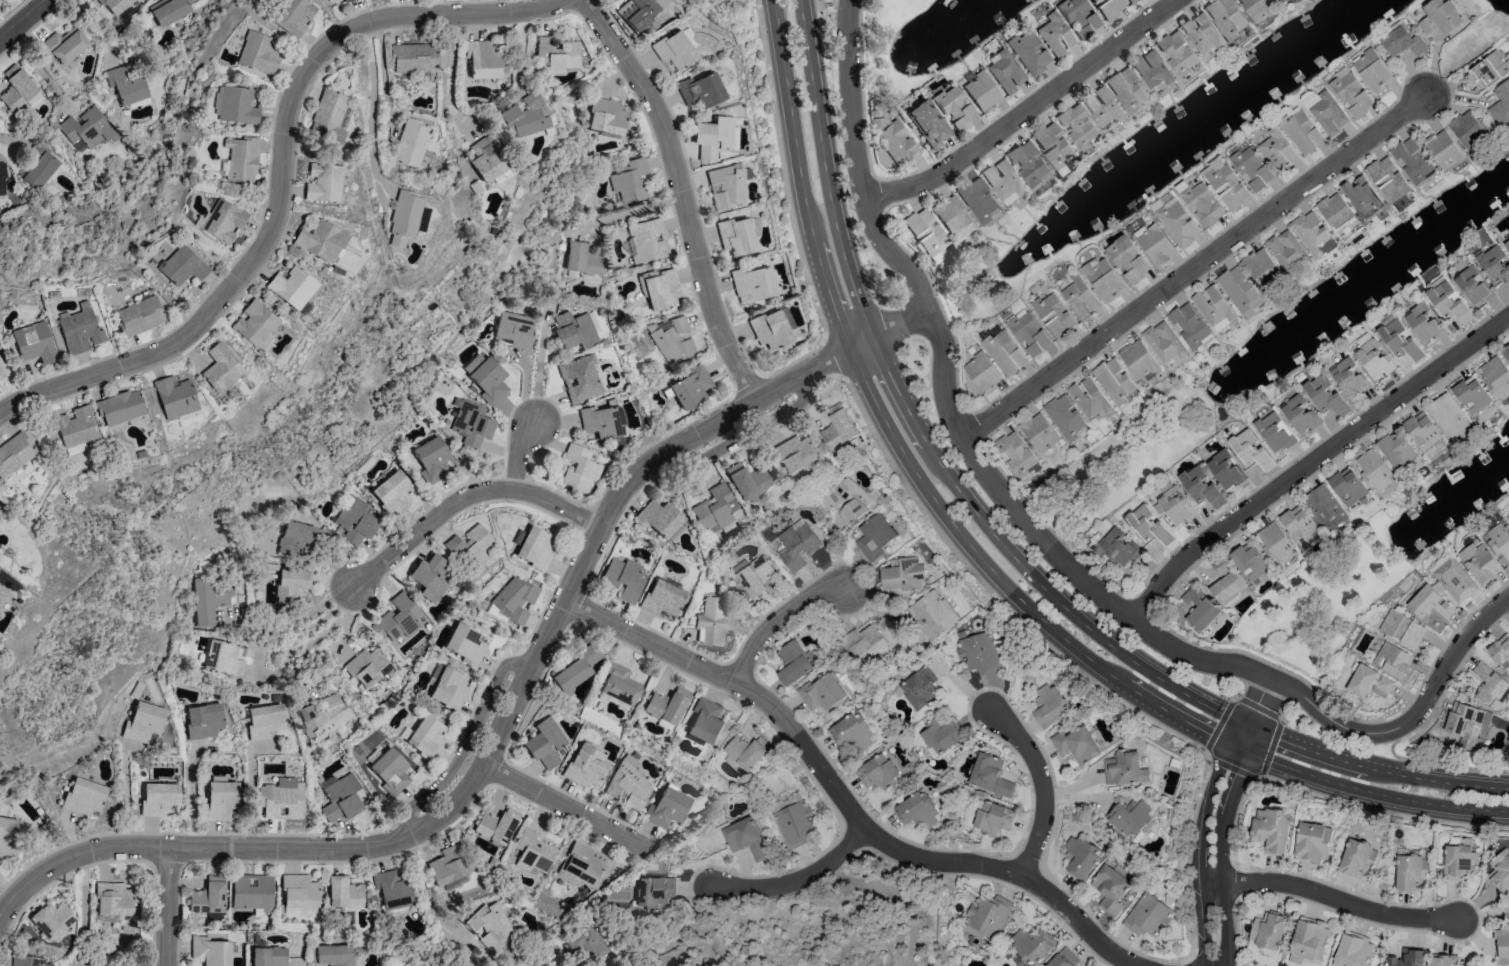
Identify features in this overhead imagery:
building: (346, 0)
building: (1131, 1)
building: (1280, 1)
building: (115, 5)
road: (518, 5)
road: (825, 5)
road: (850, 5)
building: (1108, 8)
building: (1257, 9)
building: (169, 11)
building: (635, 11)
building: (294, 16)
building: (1078, 17)
building: (1226, 17)
building: (1440, 17)
road: (24, 21)
road: (97, 30)
building: (1053, 34)
building: (1202, 35)
building: (1403, 42)
building: (65, 44)
building: (1467, 48)
building: (673, 49)
building: (1029, 52)
building: (1176, 52)
building: (258, 53)
building: (559, 55)
building: (414, 58)
building: (483, 59)
building: (1151, 69)
building: (1372, 69)
building: (1490, 69)
road: (39, 71)
building: (1004, 71)
road: (383, 76)
road: (450, 79)
building: (126, 83)
building: (16, 88)
building: (700, 90)
building: (1126, 90)
building: (981, 91)
road: (862, 93)
building: (1351, 94)
building: (238, 105)
road: (368, 105)
building: (1501, 105)
building: (1101, 106)
building: (954, 107)
road: (1026, 110)
building: (1328, 114)
building: (329, 115)
building: (528, 116)
building: (606, 116)
building: (926, 124)
building: (1077, 126)
building: (1467, 129)
building: (86, 130)
building: (1302, 132)
building: (711, 137)
building: (892, 139)
building: (412, 143)
building: (1054, 146)
building: (1276, 149)
building: (1443, 150)
building: (241, 158)
building: (488, 158)
building: (1412, 161)
building: (1028, 164)
building: (1252, 168)
building: (39, 169)
road: (782, 170)
road: (281, 179)
building: (1388, 179)
building: (2, 180)
building: (630, 181)
building: (323, 182)
building: (1003, 182)
building: (726, 186)
building: (1227, 186)
road: (683, 193)
road: (879, 195)
building: (1362, 196)
building: (979, 200)
building: (1202, 205)
building: (1335, 212)
road: (627, 213)
building: (951, 214)
building: (405, 218)
building: (224, 220)
building: (1176, 222)
building: (752, 227)
road: (874, 229)
building: (924, 231)
building: (1313, 234)
building: (734, 236)
building: (320, 240)
building: (647, 240)
building: (1154, 243)
building: (1507, 243)
building: (1287, 250)
building: (1508, 257)
building: (582, 258)
building: (1128, 259)
building: (1494, 263)
building: (182, 266)
road: (1194, 267)
building: (1261, 268)
building: (1103, 278)
building: (751, 283)
building: (1474, 285)
building: (292, 287)
building: (660, 289)
building: (1238, 290)
building: (1080, 297)
building: (1449, 302)
building: (1212, 305)
road: (940, 306)
road: (861, 307)
road: (837, 314)
building: (1054, 314)
building: (139, 316)
building: (254, 323)
building: (1424, 323)
building: (1189, 326)
building: (515, 329)
building: (575, 329)
building: (769, 329)
building: (80, 331)
building: (1029, 332)
building: (1399, 338)
building: (672, 340)
building: (34, 342)
building: (1163, 342)
building: (1506, 351)
building: (1004, 352)
road: (834, 355)
building: (1373, 356)
building: (1138, 360)
building: (220, 368)
building: (981, 372)
building: (1496, 376)
building: (1349, 377)
building: (486, 378)
building: (579, 378)
building: (1114, 380)
building: (690, 387)
building: (1471, 394)
building: (175, 396)
building: (1325, 396)
building: (1088, 397)
building: (120, 407)
building: (1300, 414)
building: (1447, 415)
building: (1065, 419)
building: (600, 421)
building: (471, 424)
building: (76, 426)
building: (837, 427)
road: (975, 428)
building: (1274, 431)
building: (1038, 432)
building: (1424, 434)
building: (1396, 449)
building: (1253, 450)
road: (518, 453)
building: (14, 454)
building: (1016, 454)
building: (794, 455)
building: (432, 458)
road: (1314, 460)
building: (578, 468)
building: (1225, 469)
building: (1373, 470)
building: (748, 481)
building: (1201, 486)
building: (1347, 486)
building: (392, 492)
road: (465, 500)
building: (848, 501)
building: (1172, 503)
building: (1324, 507)
building: (716, 508)
building: (1508, 515)
building: (660, 518)
building: (355, 521)
building: (1147, 524)
road: (1047, 528)
building: (1287, 534)
building: (295, 537)
building: (874, 537)
building: (1498, 538)
building: (470, 545)
building: (796, 545)
building: (1120, 546)
building: (535, 548)
building: (1249, 561)
building: (1480, 561)
building: (901, 576)
building: (430, 577)
building: (623, 578)
building: (753, 578)
building: (1454, 579)
building: (1225, 581)
building: (292, 584)
building: (2, 593)
road: (991, 595)
building: (662, 598)
building: (209, 600)
building: (513, 600)
building: (1430, 603)
road: (1141, 605)
building: (1200, 608)
building: (930, 614)
building: (398, 617)
road: (778, 618)
building: (710, 621)
road: (315, 623)
building: (1401, 628)
building: (864, 643)
building: (465, 644)
building: (1501, 651)
building: (978, 652)
building: (224, 659)
road: (689, 659)
road: (1130, 660)
building: (1393, 660)
building: (792, 663)
road: (1231, 663)
road: (1274, 666)
building: (367, 667)
building: (575, 668)
road: (1115, 678)
building: (1366, 681)
building: (619, 686)
building: (1491, 686)
building: (449, 688)
building: (919, 688)
building: (821, 693)
building: (667, 705)
building: (1050, 706)
road: (1256, 707)
road: (510, 709)
building: (203, 720)
building: (264, 720)
building: (143, 722)
building: (704, 722)
building: (1464, 723)
road: (1218, 725)
road: (1396, 727)
building: (851, 732)
building: (940, 735)
building: (424, 736)
traffic signals: (1243, 737)
building: (544, 742)
road: (463, 745)
building: (1077, 745)
road: (1268, 748)
building: (745, 752)
road: (1439, 764)
building: (585, 766)
road: (1231, 767)
building: (1125, 768)
building: (390, 771)
building: (876, 773)
building: (989, 775)
road: (1373, 780)
road: (1040, 782)
building: (628, 783)
road: (193, 791)
road: (251, 794)
road: (129, 795)
building: (84, 796)
building: (340, 797)
building: (159, 799)
building: (280, 799)
building: (220, 800)
road: (560, 804)
building: (666, 808)
building: (917, 810)
road: (1380, 812)
road: (1213, 817)
building: (993, 818)
building: (791, 819)
building: (1130, 819)
building: (497, 825)
building: (1272, 830)
building: (8, 836)
building: (742, 838)
building: (1313, 843)
building: (533, 853)
road: (959, 854)
building: (1080, 857)
building: (1357, 859)
building: (1459, 862)
building: (448, 865)
building: (587, 866)
building: (1500, 872)
building: (1411, 873)
road: (799, 876)
building: (392, 888)
building: (1110, 889)
building: (251, 891)
building: (299, 891)
building: (656, 892)
building: (344, 893)
building: (208, 896)
road: (428, 896)
road: (895, 897)
road: (1334, 898)
building: (113, 899)
road: (168, 907)
road: (84, 910)
road: (1482, 913)
building: (988, 915)
building: (1147, 915)
building: (51, 920)
building: (491, 926)
building: (1268, 933)
road: (678, 938)
building: (1308, 940)
building: (1502, 941)
building: (589, 942)
building: (1033, 944)
building: (1353, 950)
building: (210, 951)
building: (332, 955)
building: (267, 956)
building: (1064, 958)
building: (1407, 958)
building: (1444, 960)
building: (27, 961)

